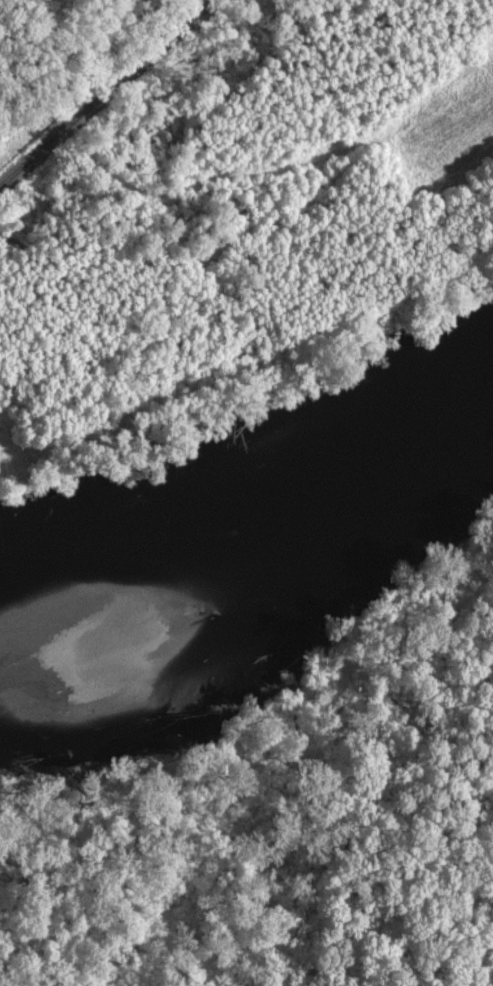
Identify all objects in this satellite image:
railway: (104, 93)
river: (253, 500)

